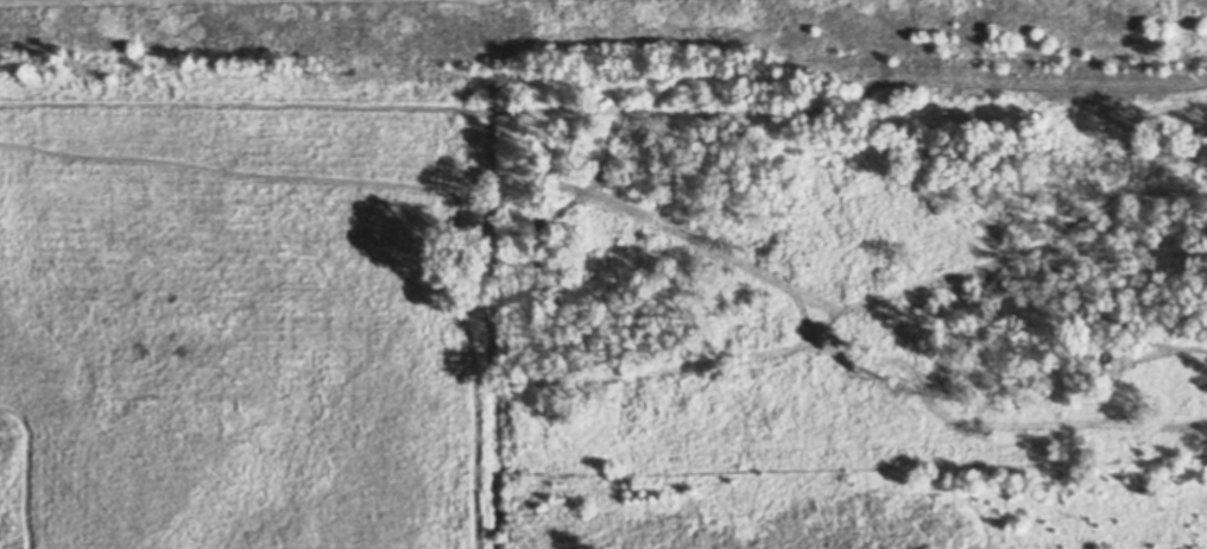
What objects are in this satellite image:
building: (909, 330)
building: (1110, 349)

